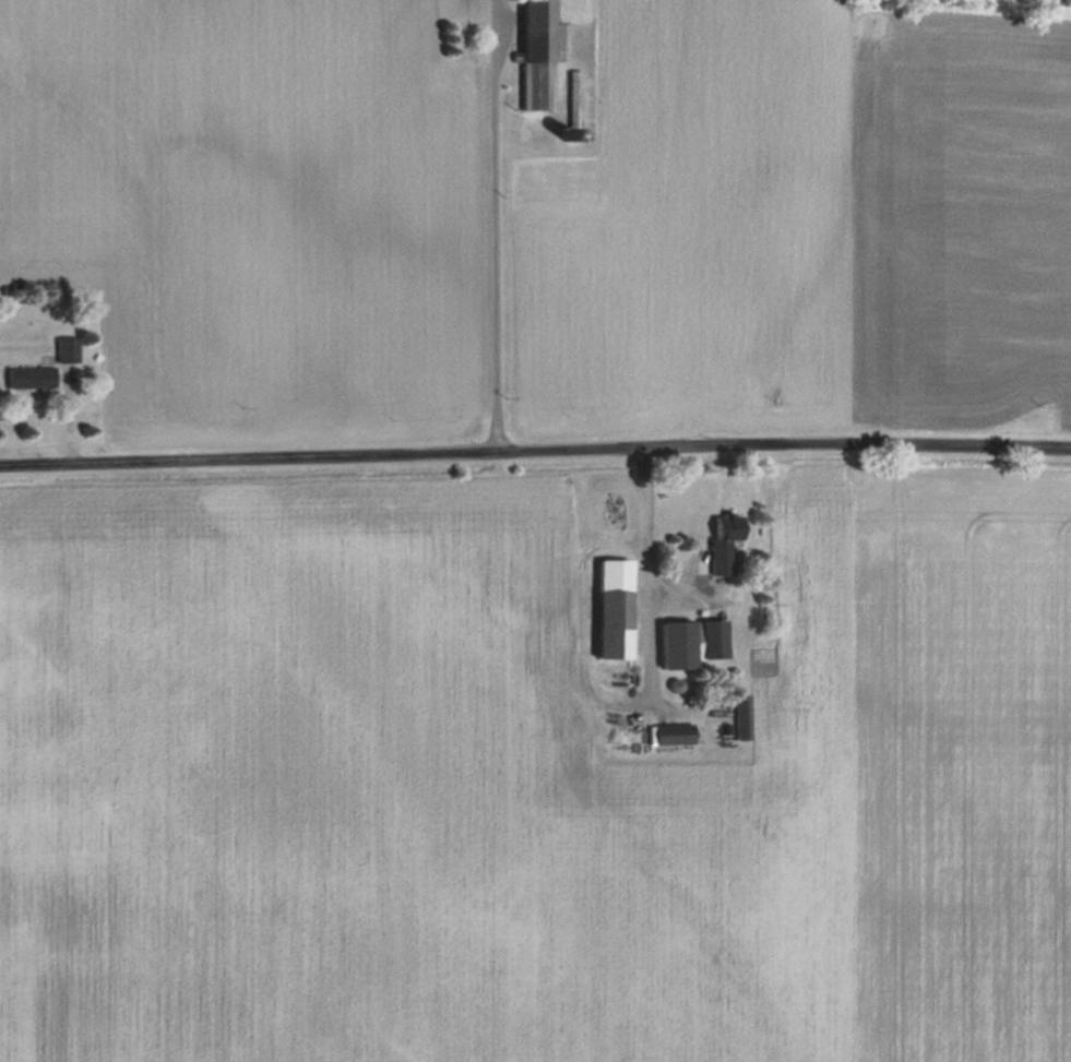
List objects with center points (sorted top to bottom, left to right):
building: (538, 55)
road: (493, 224)
building: (66, 349)
building: (29, 377)
road: (535, 448)
building: (726, 542)
building: (615, 608)
building: (713, 639)
building: (677, 643)
building: (741, 716)
building: (674, 733)

